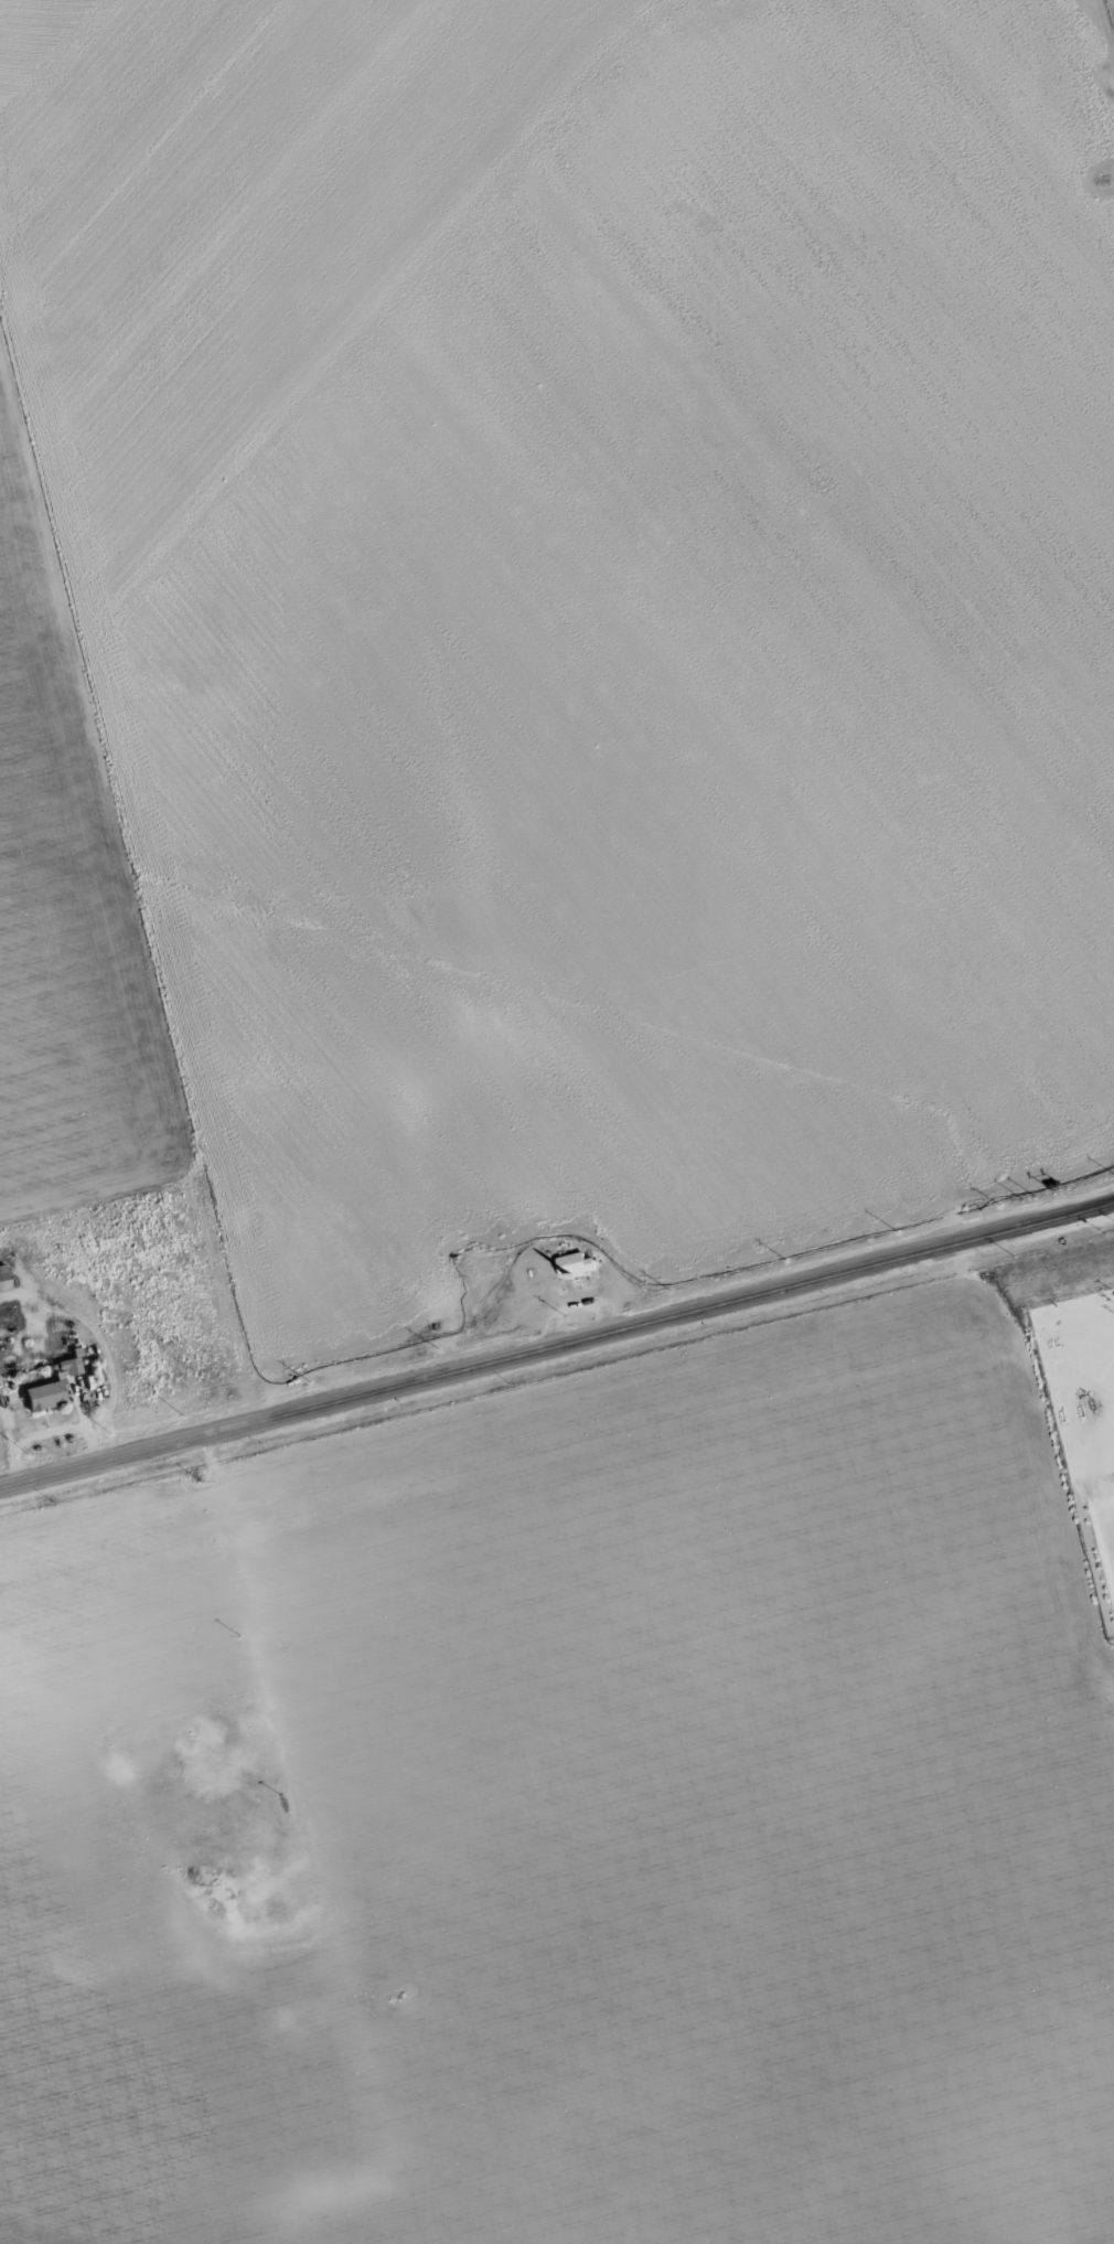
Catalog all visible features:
building: (575, 1263)
building: (3, 1275)
road: (557, 1346)
building: (73, 1366)
building: (45, 1396)
building: (210, 1737)

